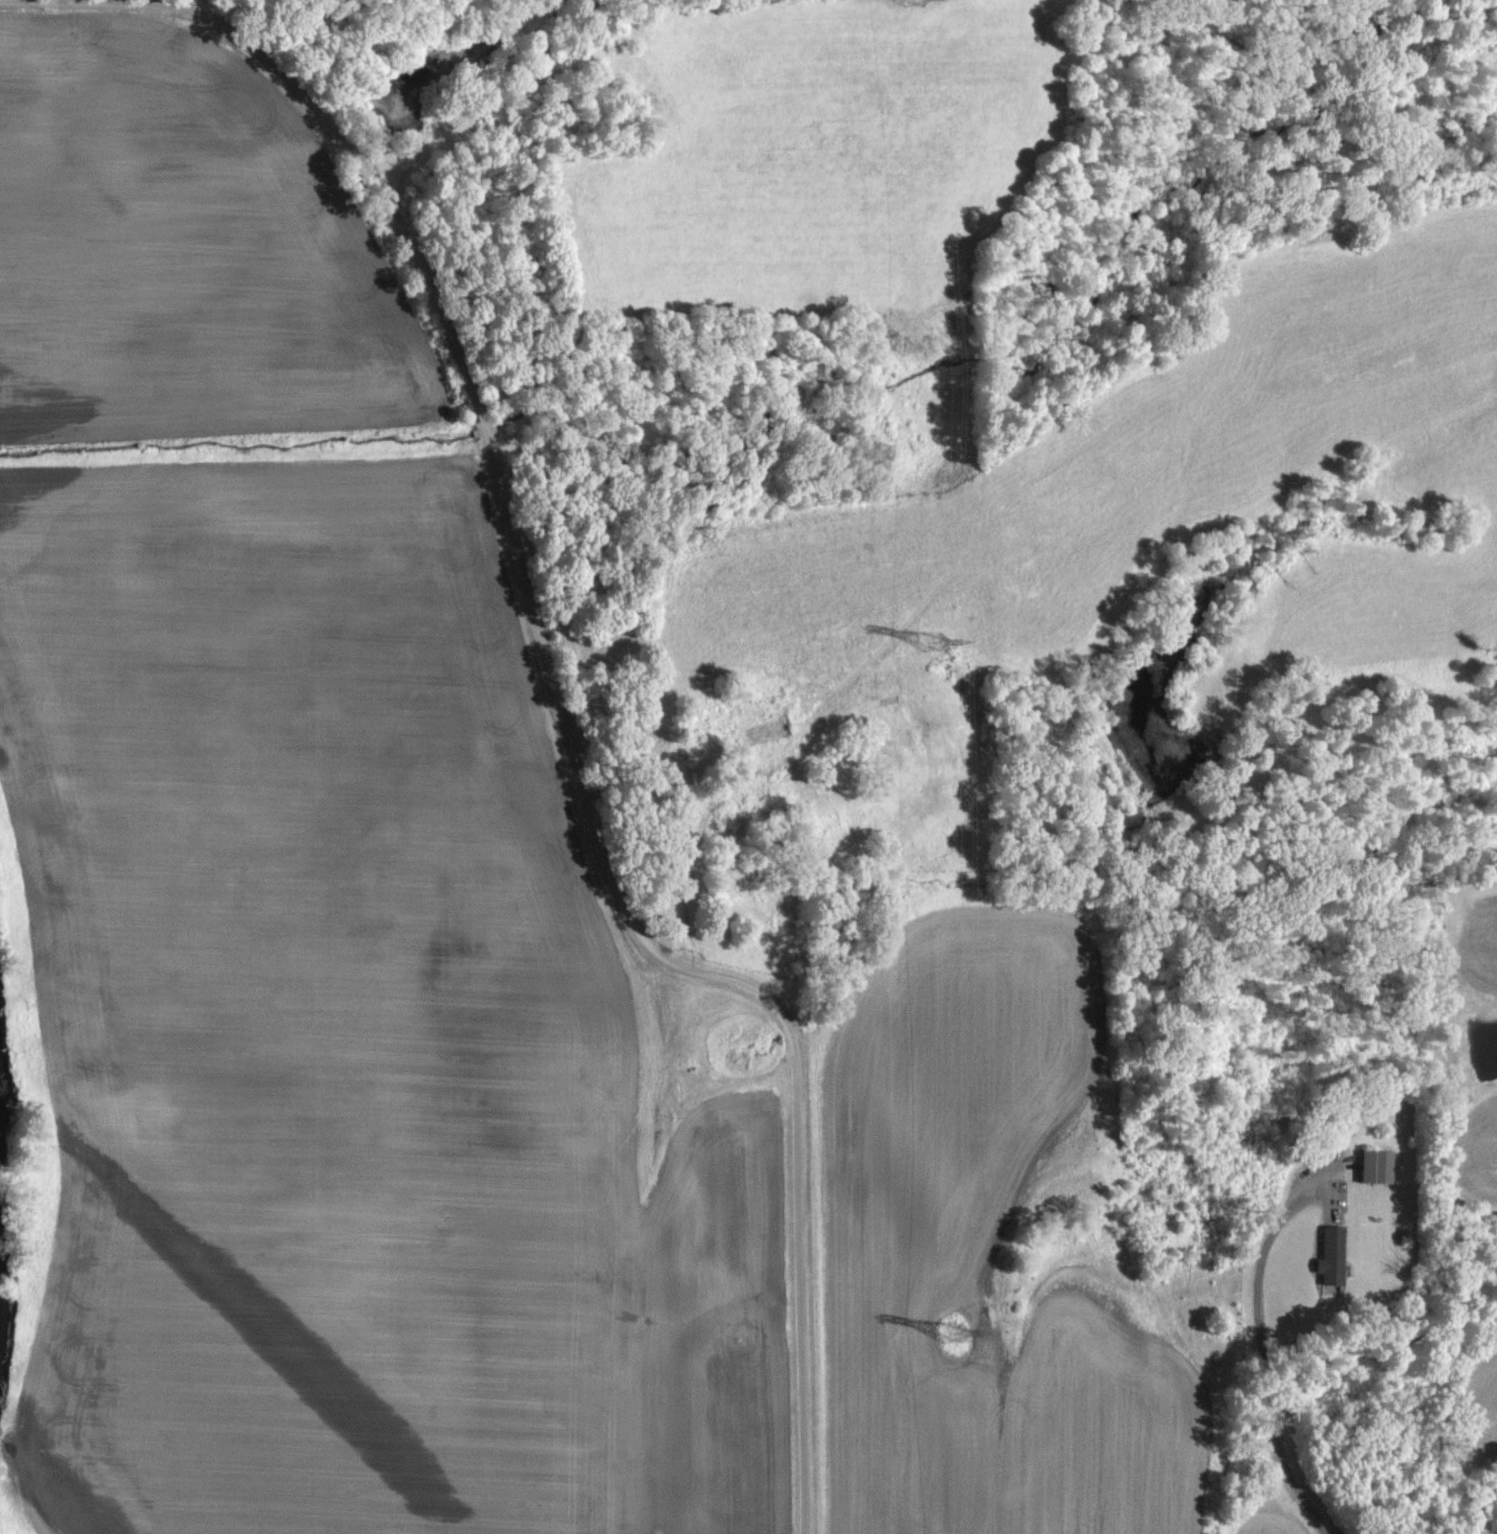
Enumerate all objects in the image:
road: (184, 7)
power tower: (930, 641)
road: (559, 675)
power tower: (949, 1333)
road: (1259, 1351)

